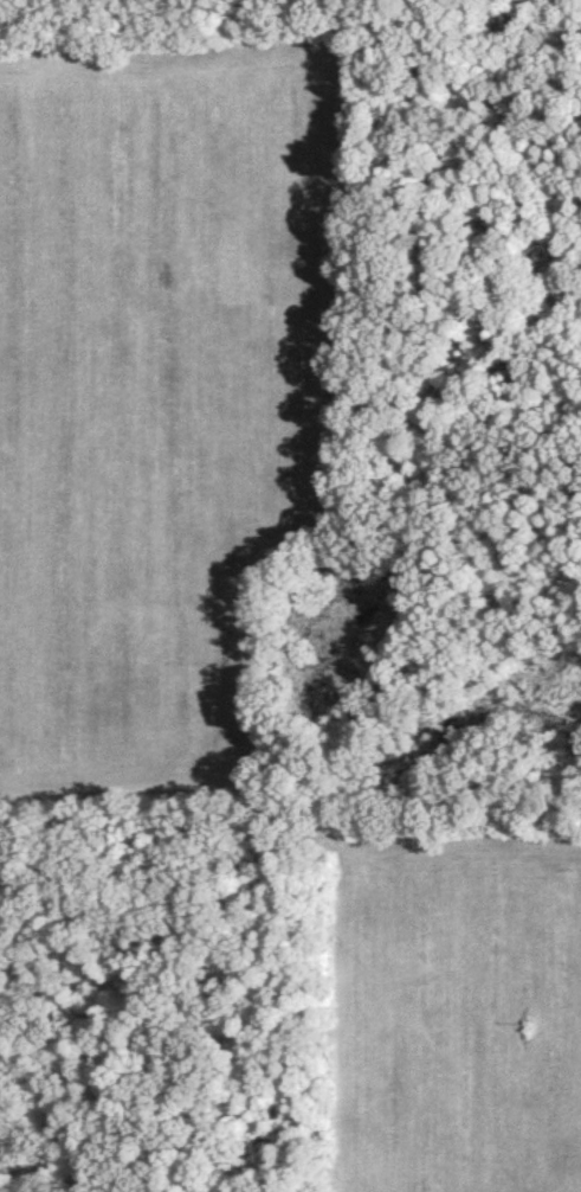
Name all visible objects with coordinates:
road: (146, 77)

